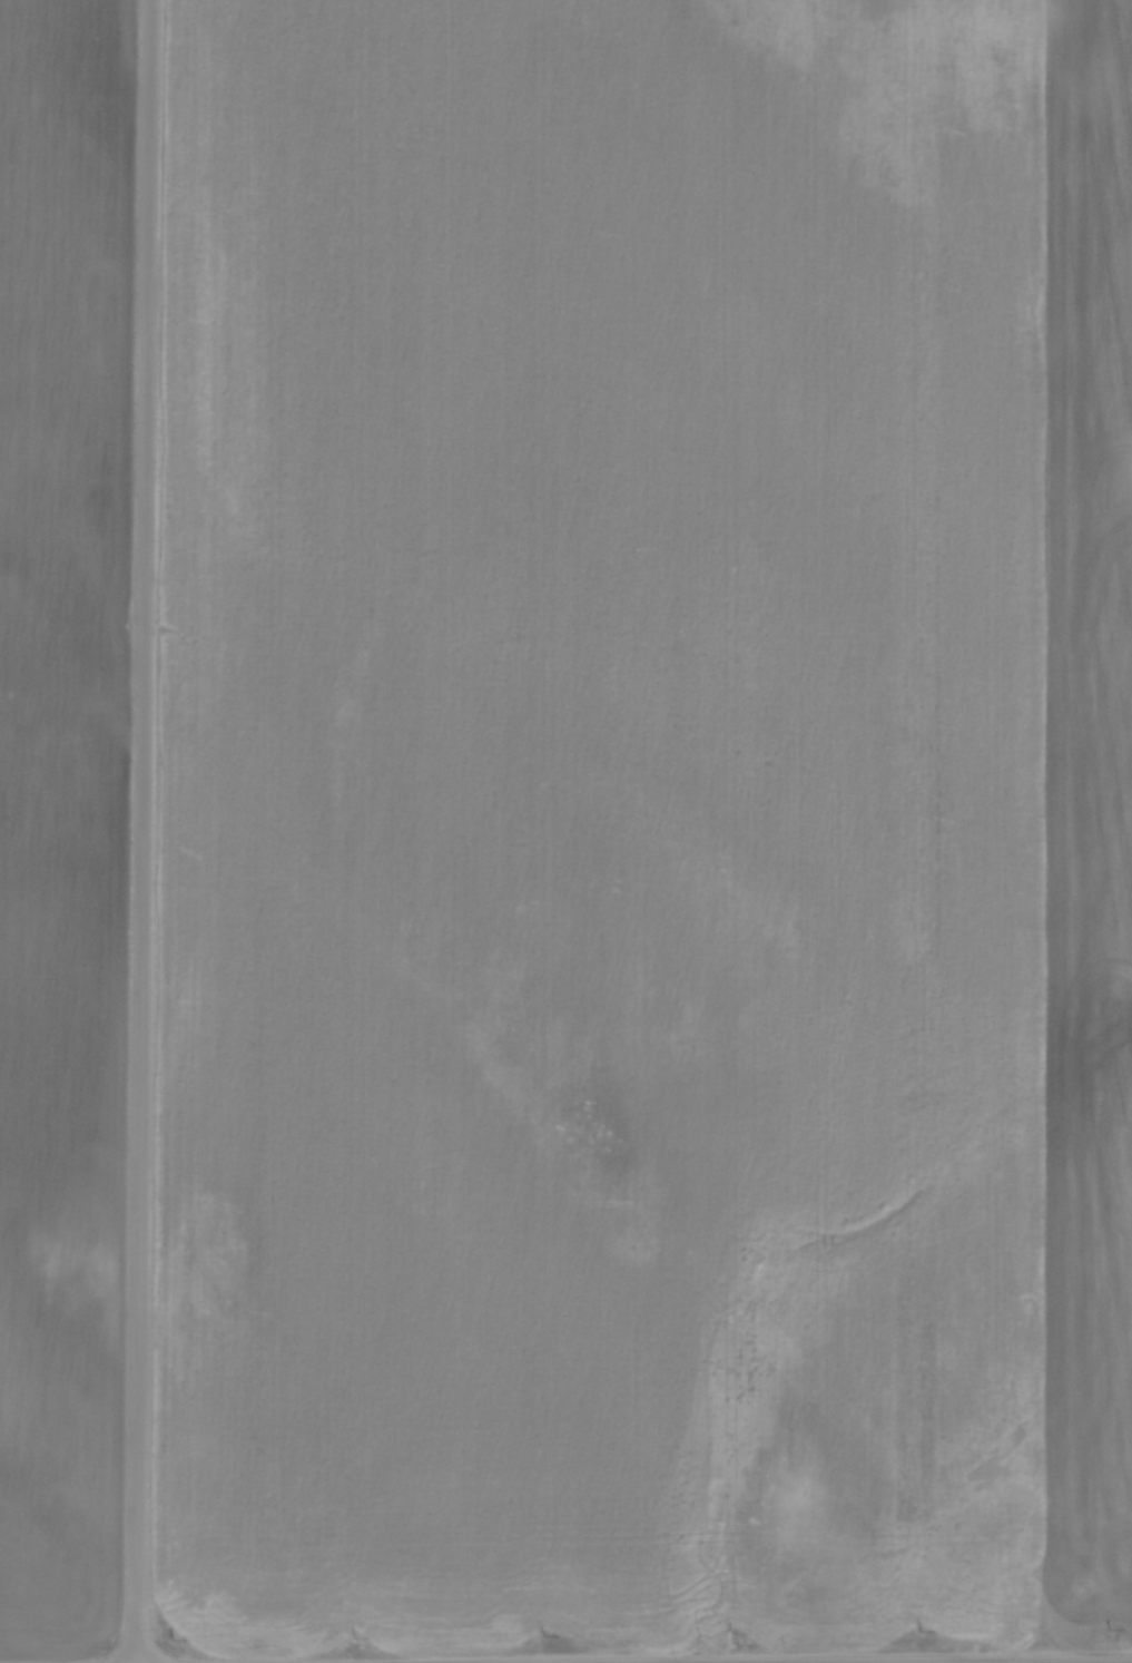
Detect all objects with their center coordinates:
crop: (62, 806)
crop: (649, 825)
road: (145, 831)

